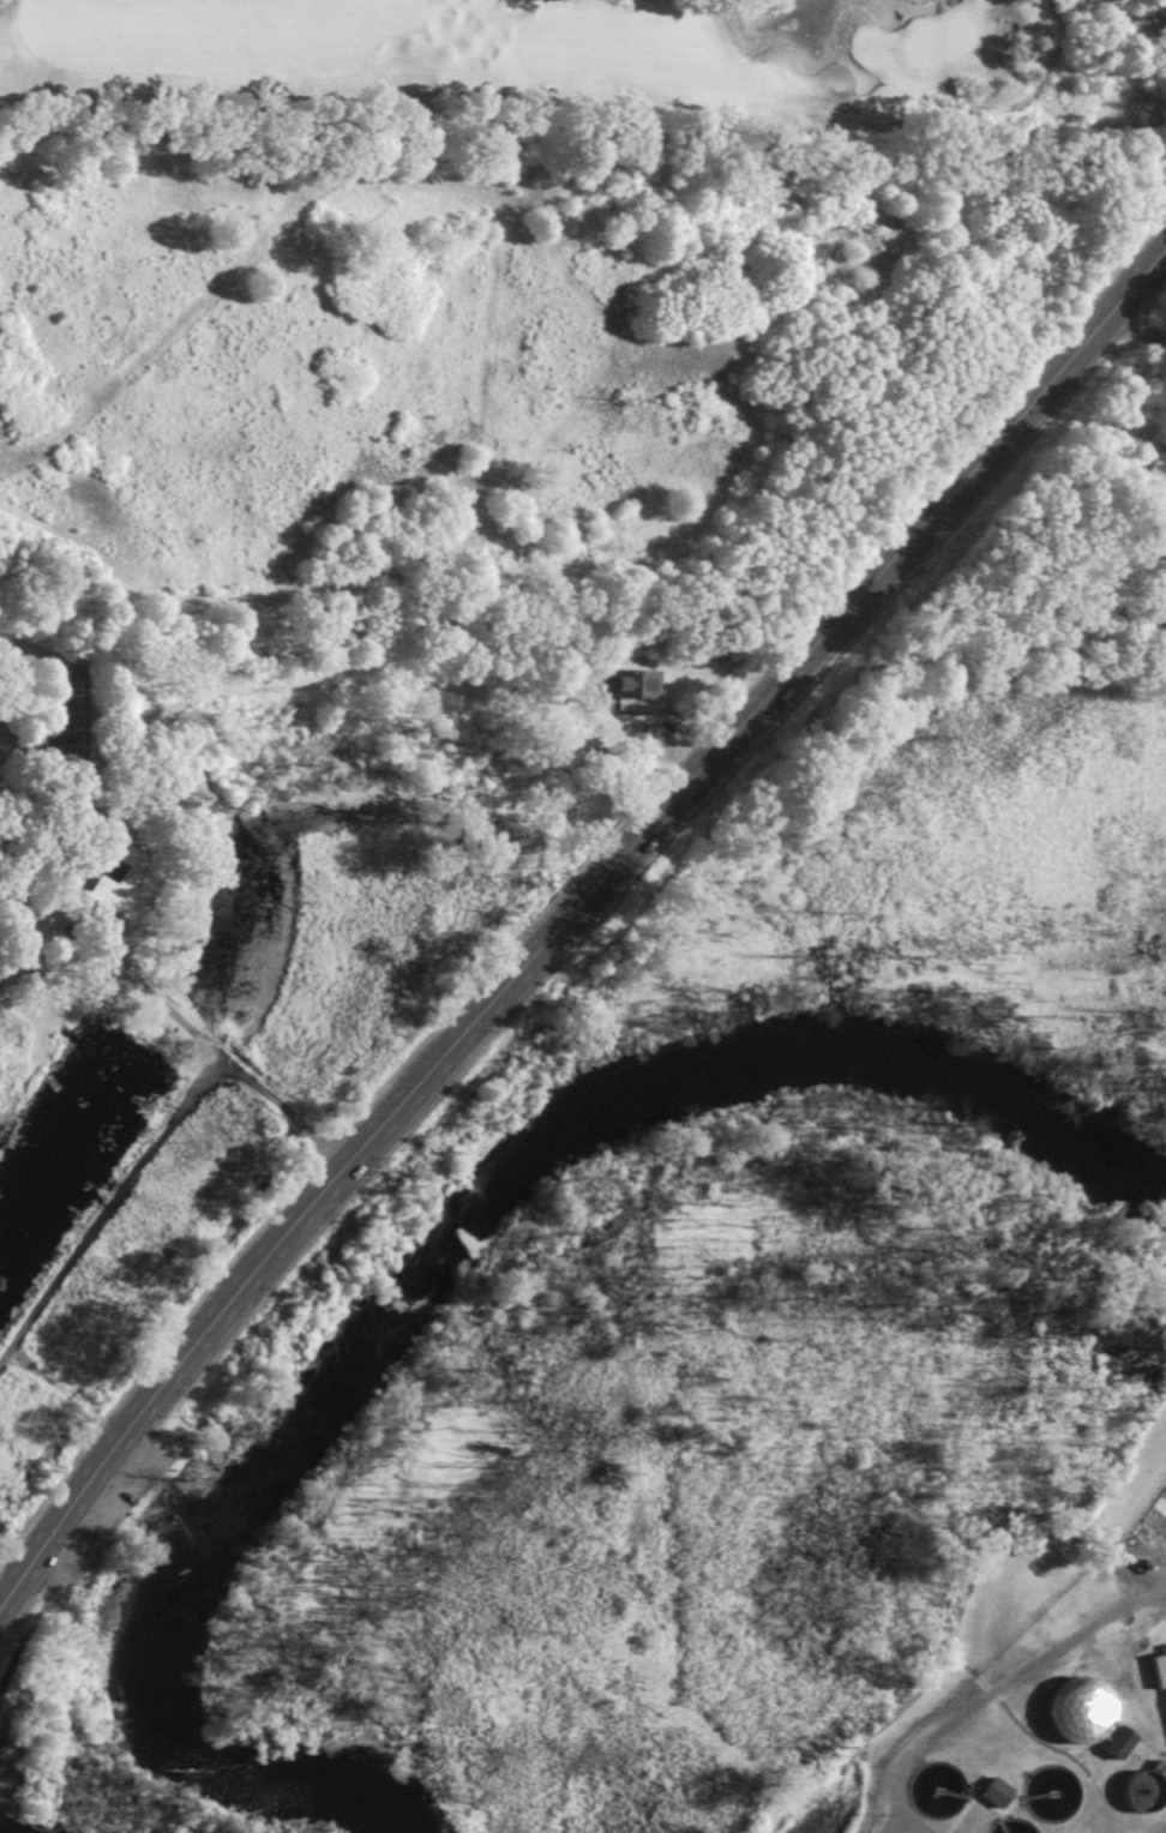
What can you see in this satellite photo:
park: (933, 46)
road: (1046, 62)
road: (1131, 331)
building: (1150, 467)
building: (631, 683)
building: (119, 885)
road: (570, 911)
road: (226, 1062)
road: (112, 1212)
river: (439, 1260)
building: (1159, 1670)
wastewater plant: (1018, 1683)
building: (1076, 1711)
building: (1117, 1743)
building: (1146, 1790)
building: (993, 1791)
building: (937, 1795)
building: (1012, 1827)

